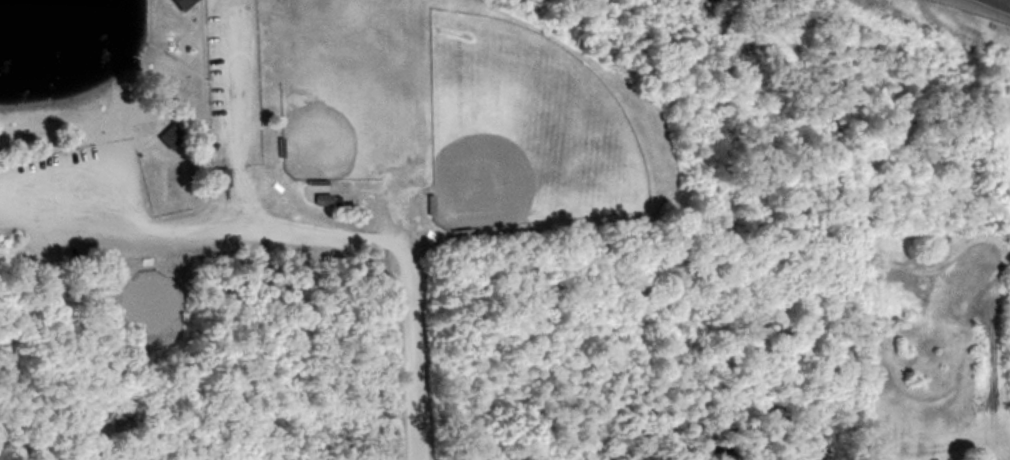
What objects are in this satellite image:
road: (1001, 3)
building: (177, 4)
park: (325, 18)
park: (344, 114)
road: (233, 117)
park: (519, 129)
building: (214, 177)
road: (323, 233)

